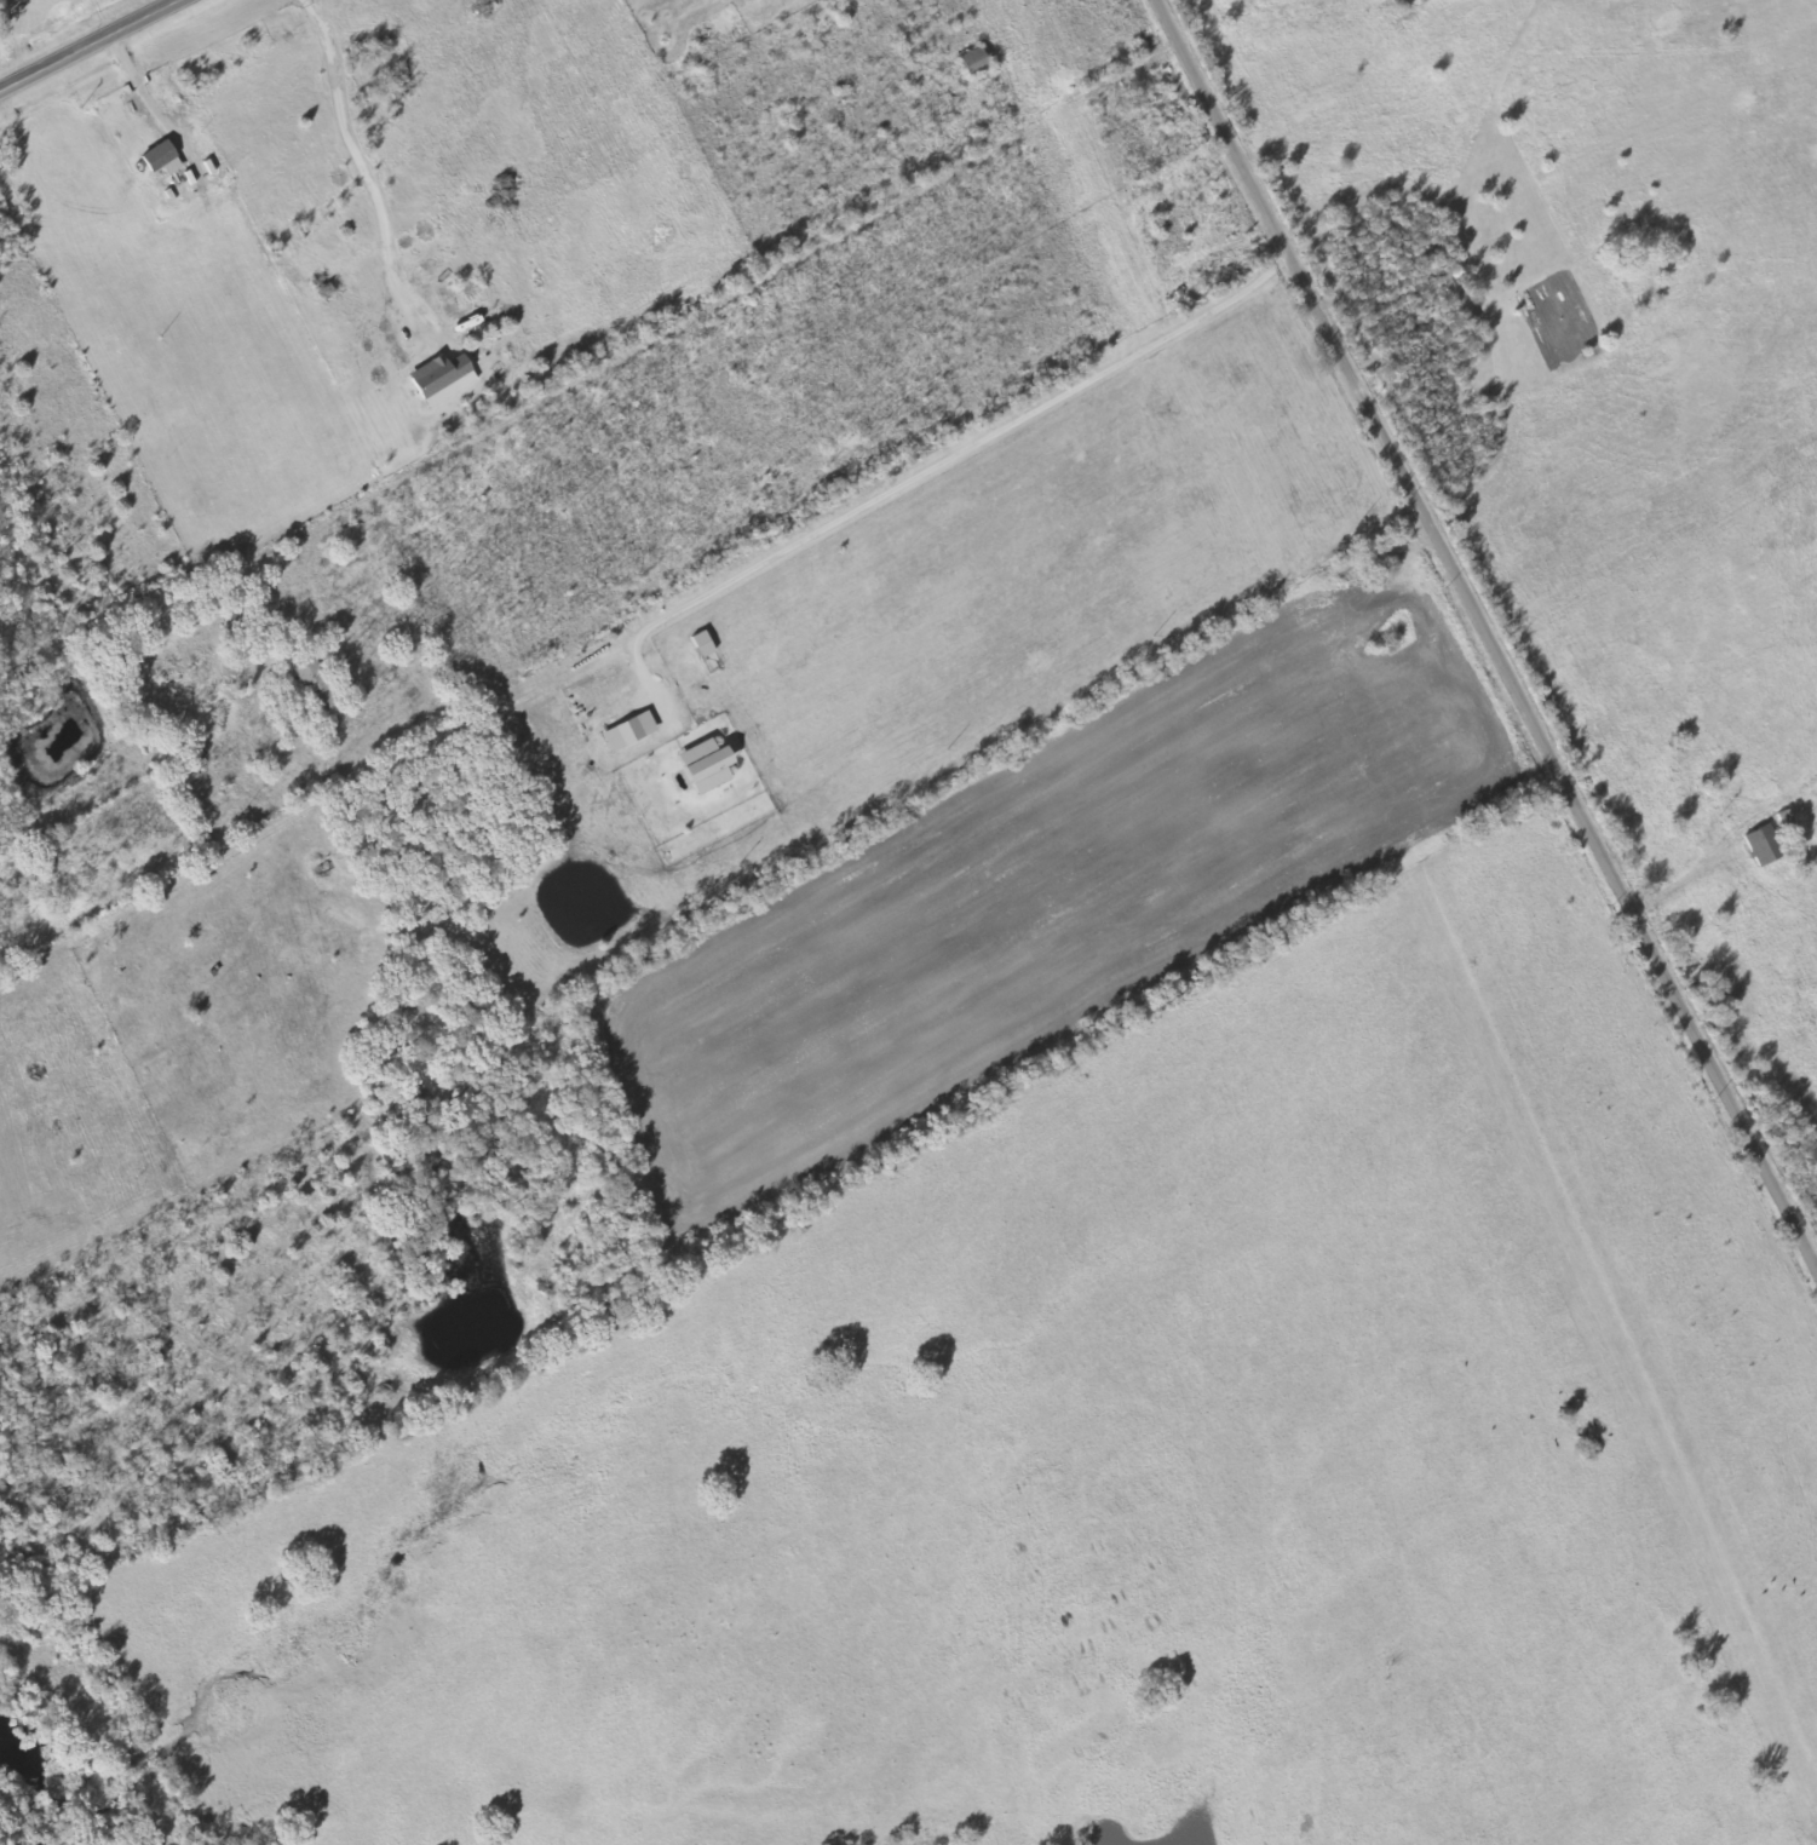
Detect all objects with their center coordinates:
road: (88, 44)
building: (972, 63)
building: (441, 380)
road: (1483, 636)
building: (311, 686)
building: (627, 732)
building: (703, 768)
building: (1761, 847)
road: (1294, 1224)

